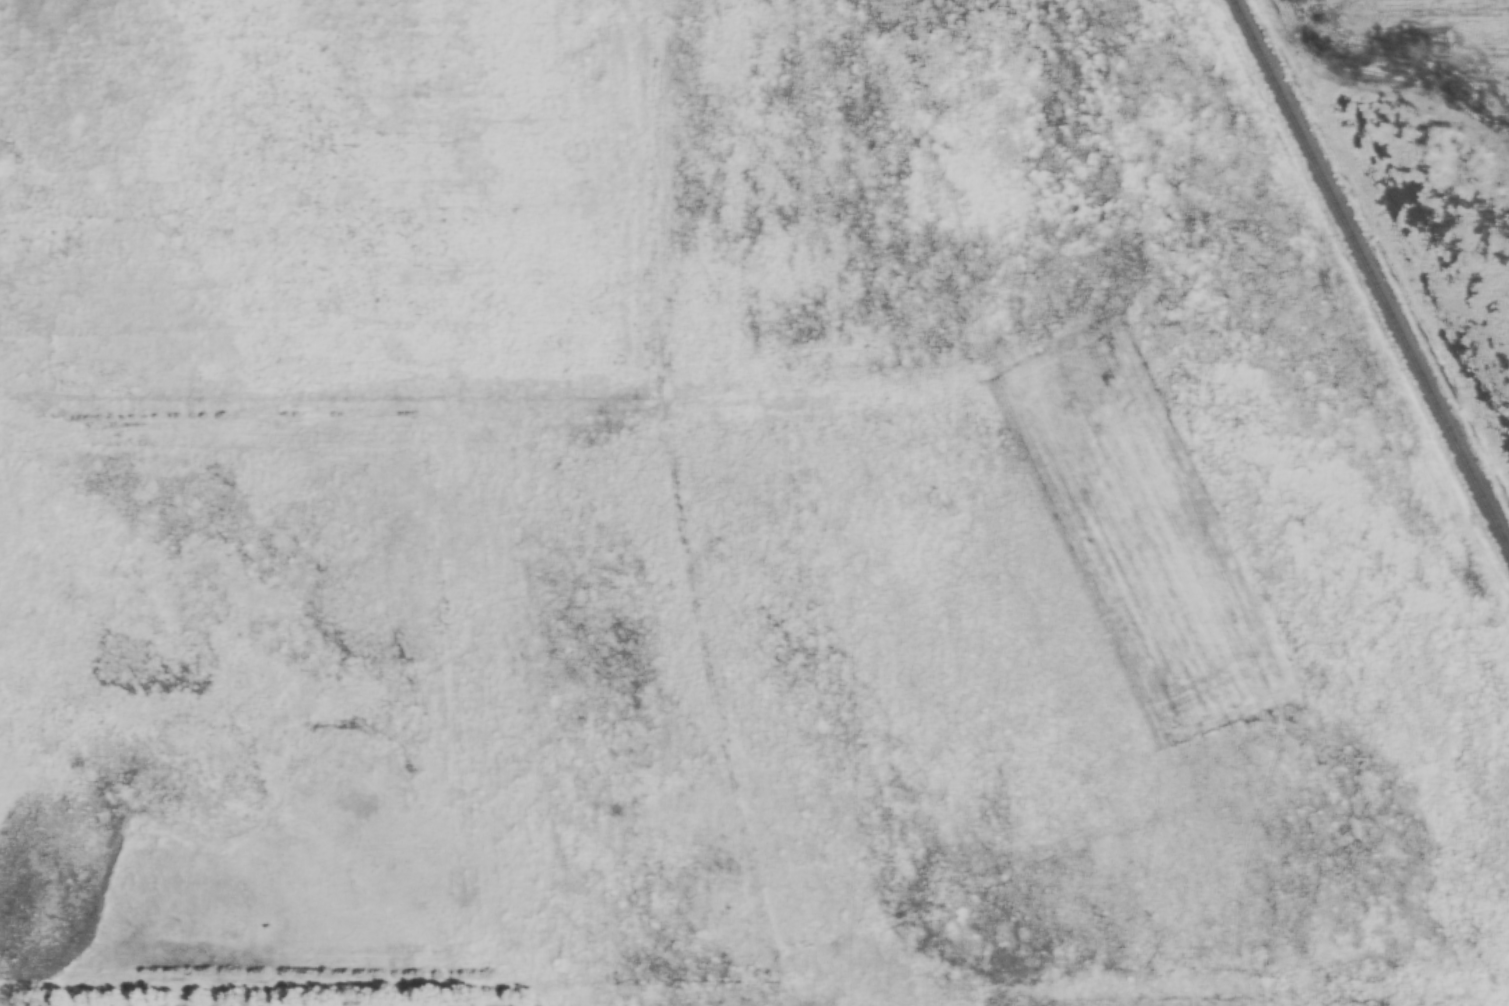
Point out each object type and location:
railway: (1369, 279)

